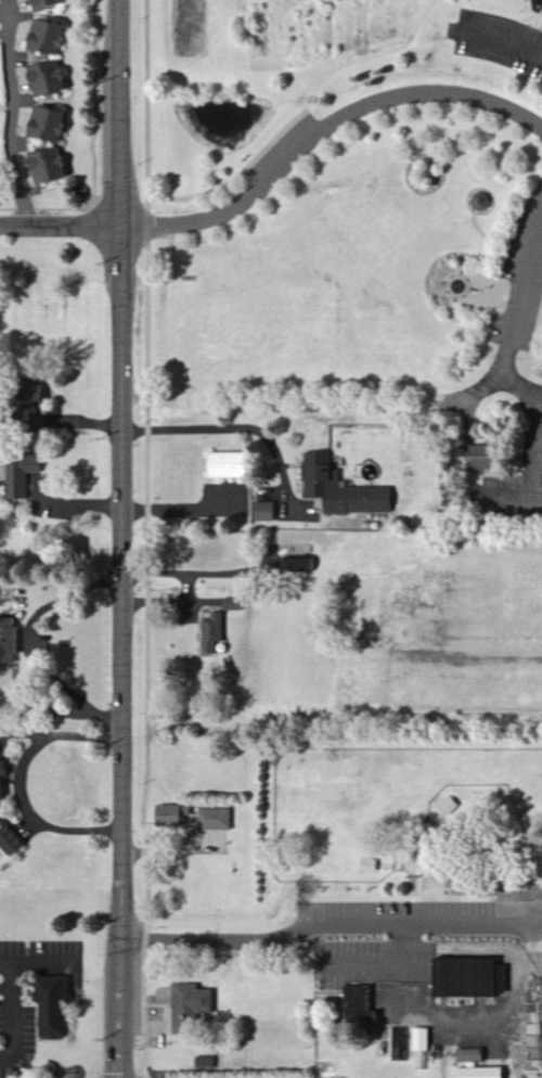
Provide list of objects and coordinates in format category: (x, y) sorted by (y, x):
building: (42, 3)
road: (366, 27)
building: (42, 38)
road: (503, 38)
building: (42, 80)
road: (13, 114)
road: (321, 123)
building: (42, 126)
building: (41, 167)
park: (360, 215)
road: (60, 228)
road: (516, 318)
building: (26, 408)
road: (231, 426)
building: (476, 457)
building: (223, 465)
building: (22, 474)
road: (121, 483)
building: (340, 489)
building: (263, 512)
road: (146, 538)
building: (297, 565)
building: (232, 604)
building: (210, 633)
road: (30, 640)
building: (7, 642)
building: (3, 768)
road: (16, 777)
building: (0, 791)
building: (170, 814)
building: (214, 820)
building: (7, 839)
road: (340, 935)
building: (466, 978)
road: (14, 1001)
building: (190, 1002)
building: (50, 1008)
building: (358, 1008)
road: (120, 1022)
building: (420, 1040)
road: (8, 1055)
building: (473, 1065)
road: (146, 1076)

